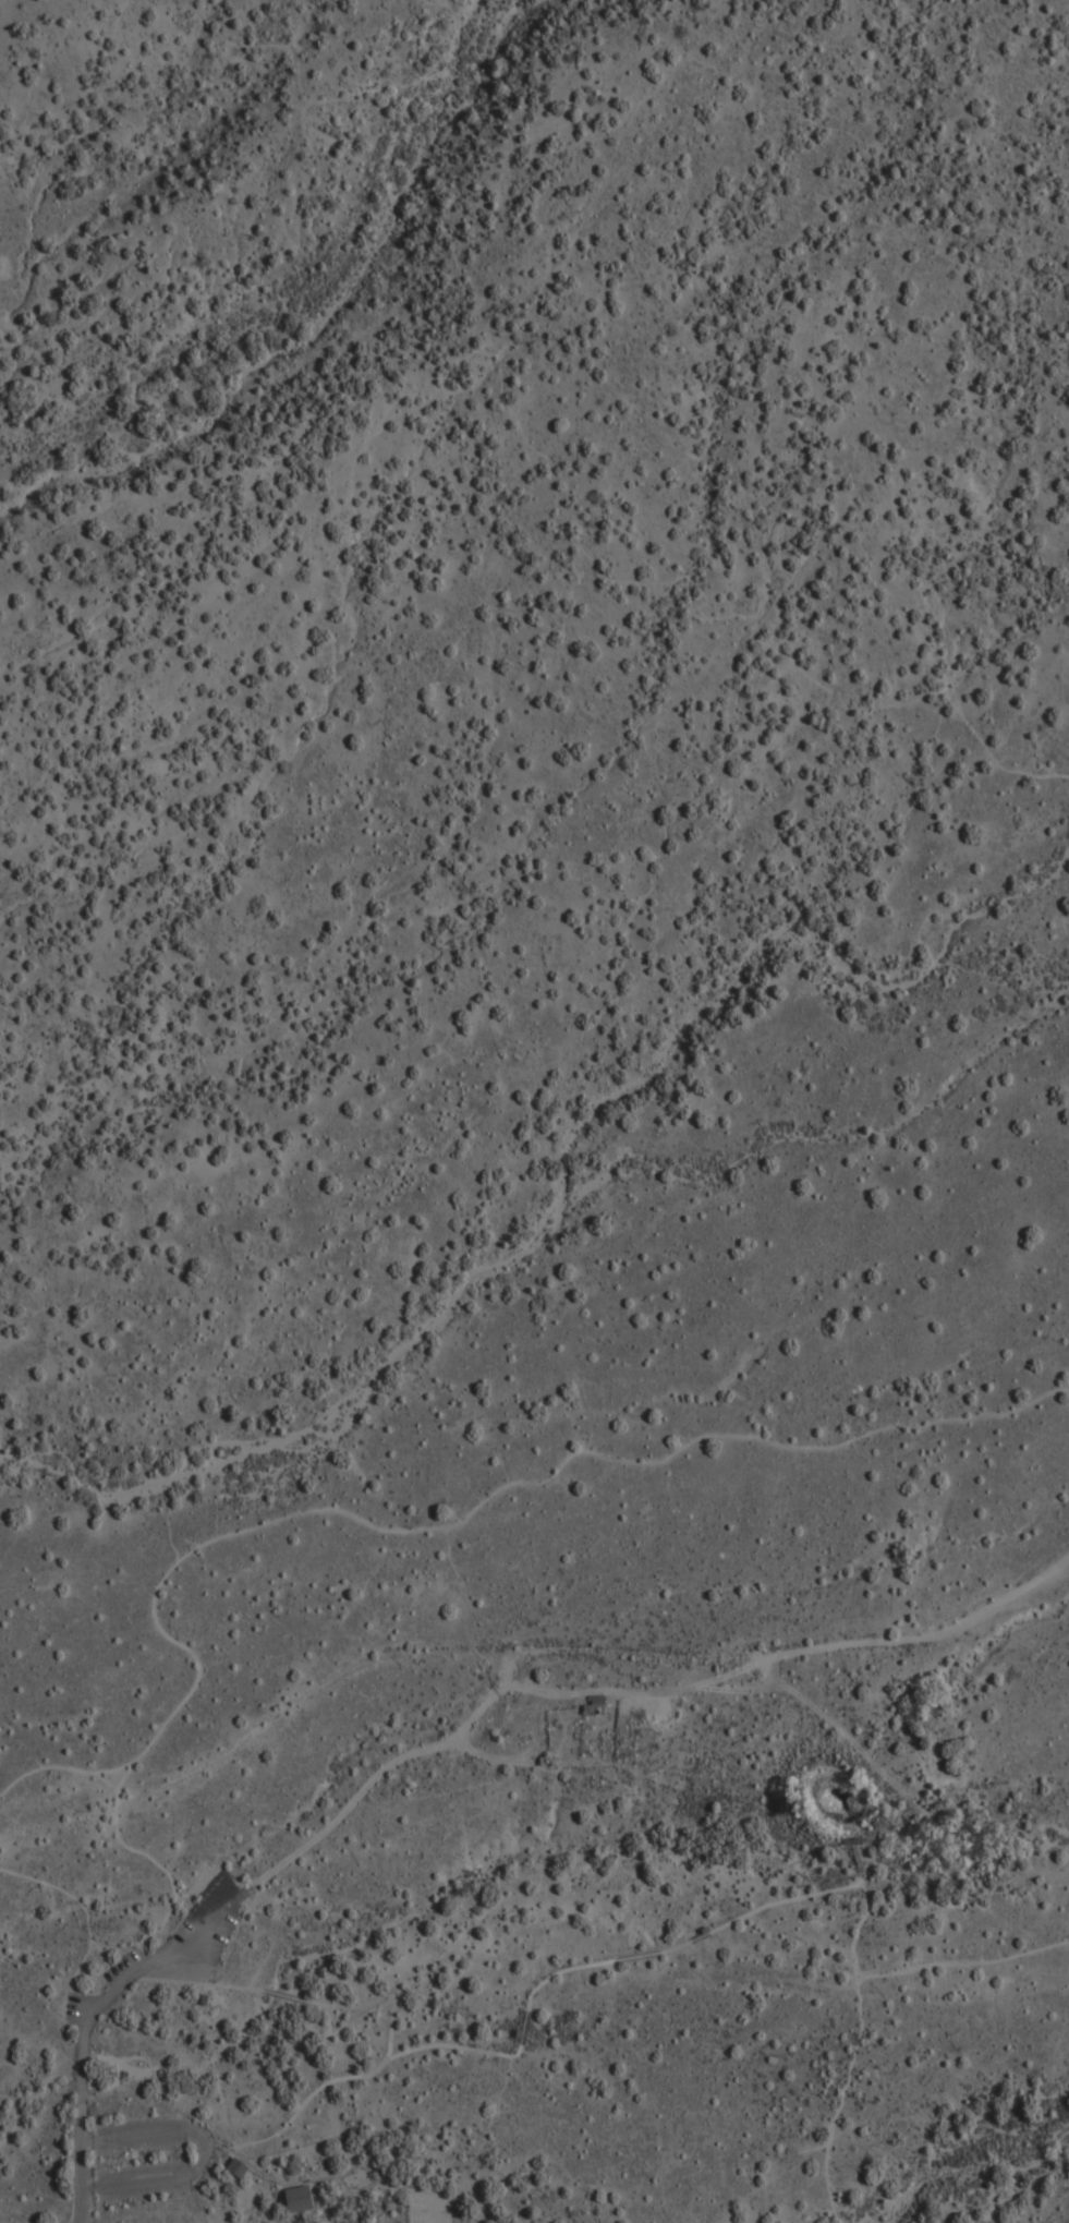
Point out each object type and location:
road: (532, 443)
park: (534, 1111)
road: (555, 1187)
road: (487, 1498)
road: (393, 1762)
road: (120, 1832)
road: (859, 1863)
parking lot: (183, 1945)
road: (914, 1971)
road: (197, 1983)
road: (201, 1994)
road: (287, 1996)
building: (205, 2000)
road: (199, 2004)
parking lot: (71, 2009)
road: (527, 2013)
road: (90, 2018)
road: (845, 2101)
road: (308, 2102)
building: (299, 2198)

